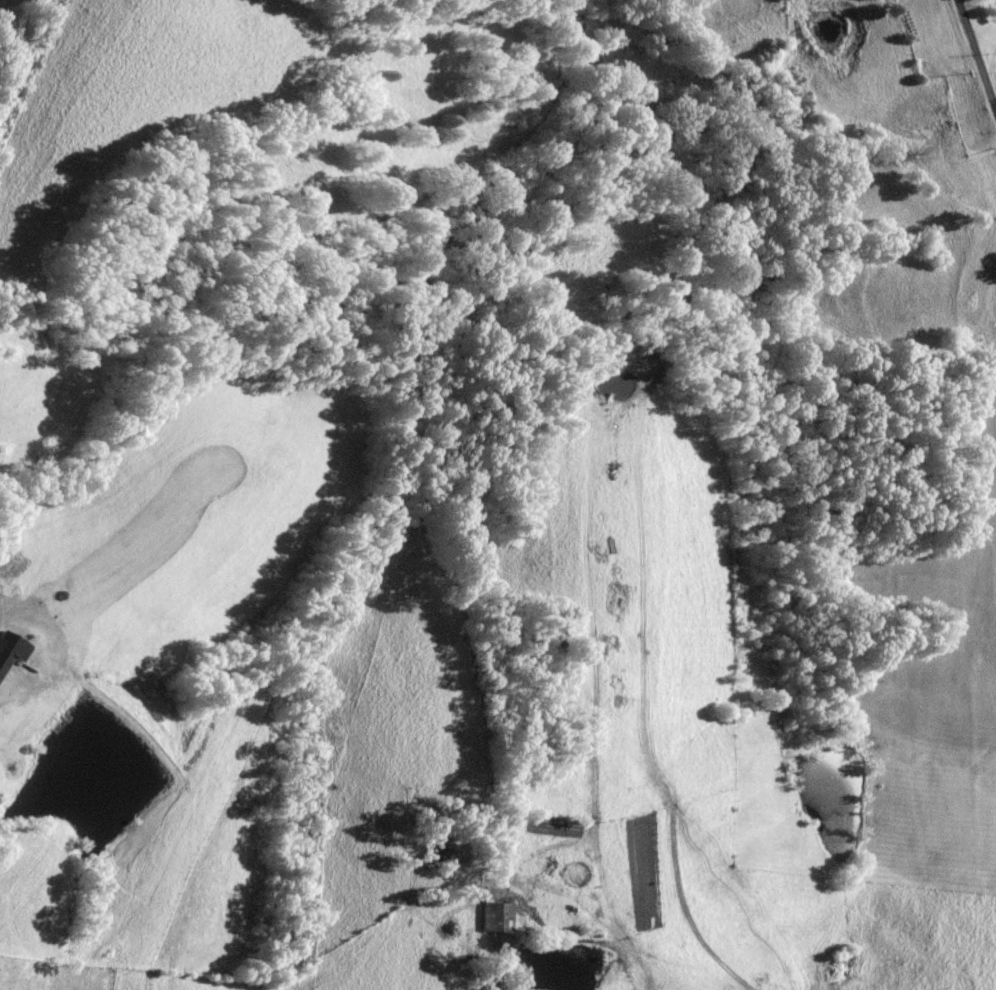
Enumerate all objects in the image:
road: (976, 57)
building: (10, 649)
building: (500, 917)

